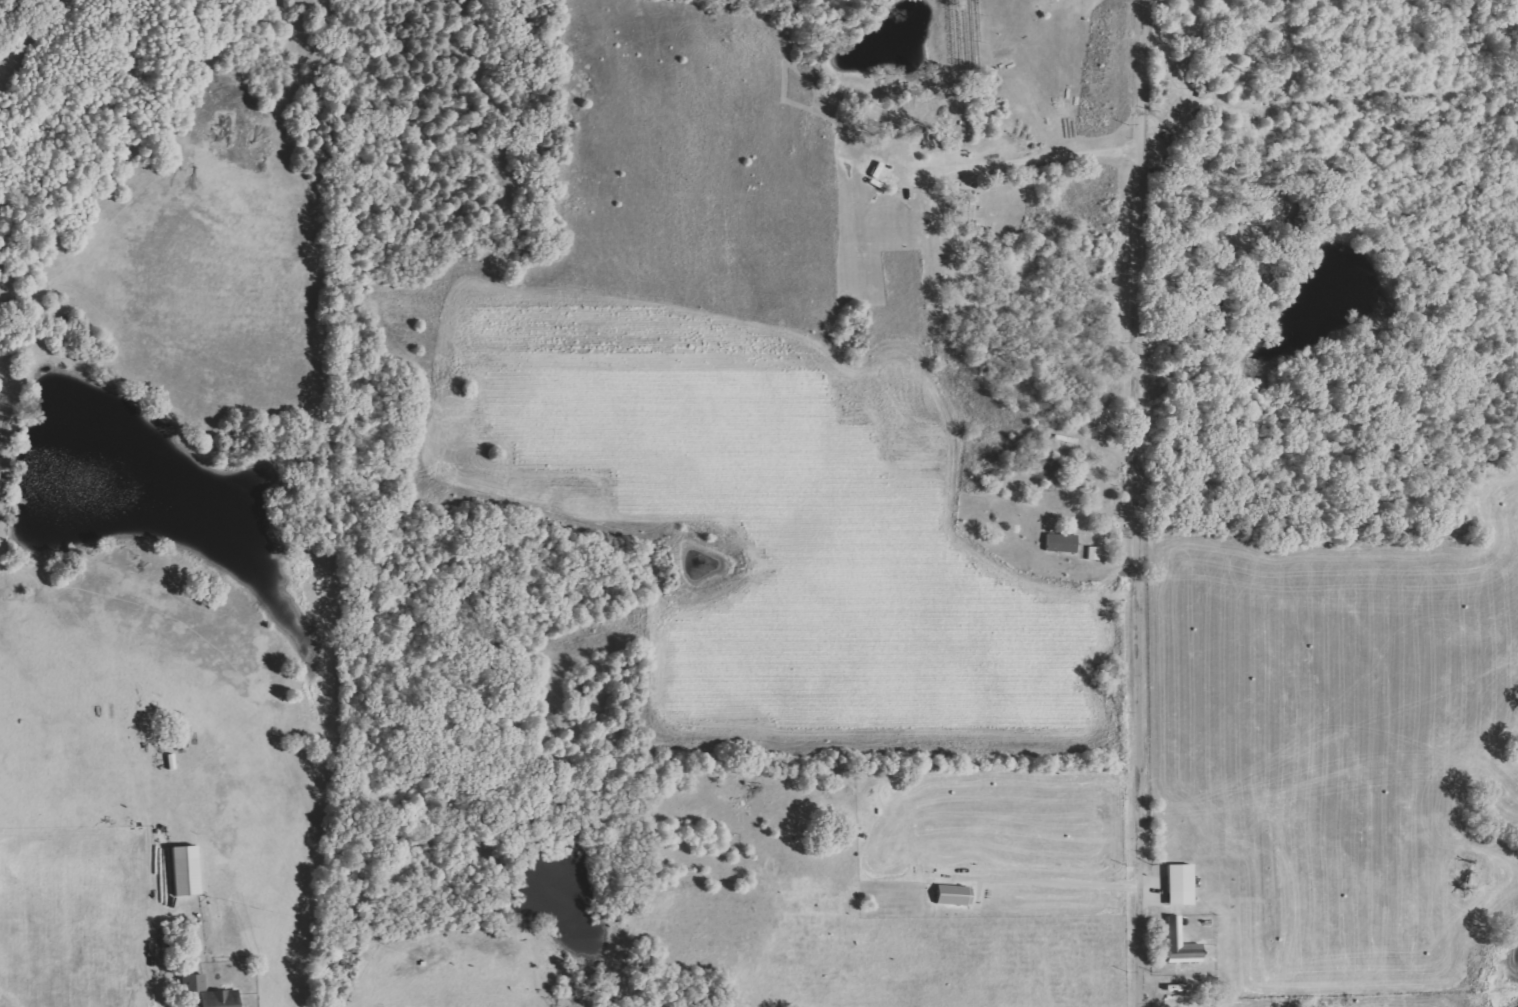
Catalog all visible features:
road: (1033, 157)
building: (1259, 270)
road: (1139, 503)
building: (1061, 543)
building: (1095, 553)
building: (185, 870)
building: (1180, 884)
building: (1181, 944)
building: (193, 982)
building: (219, 998)

